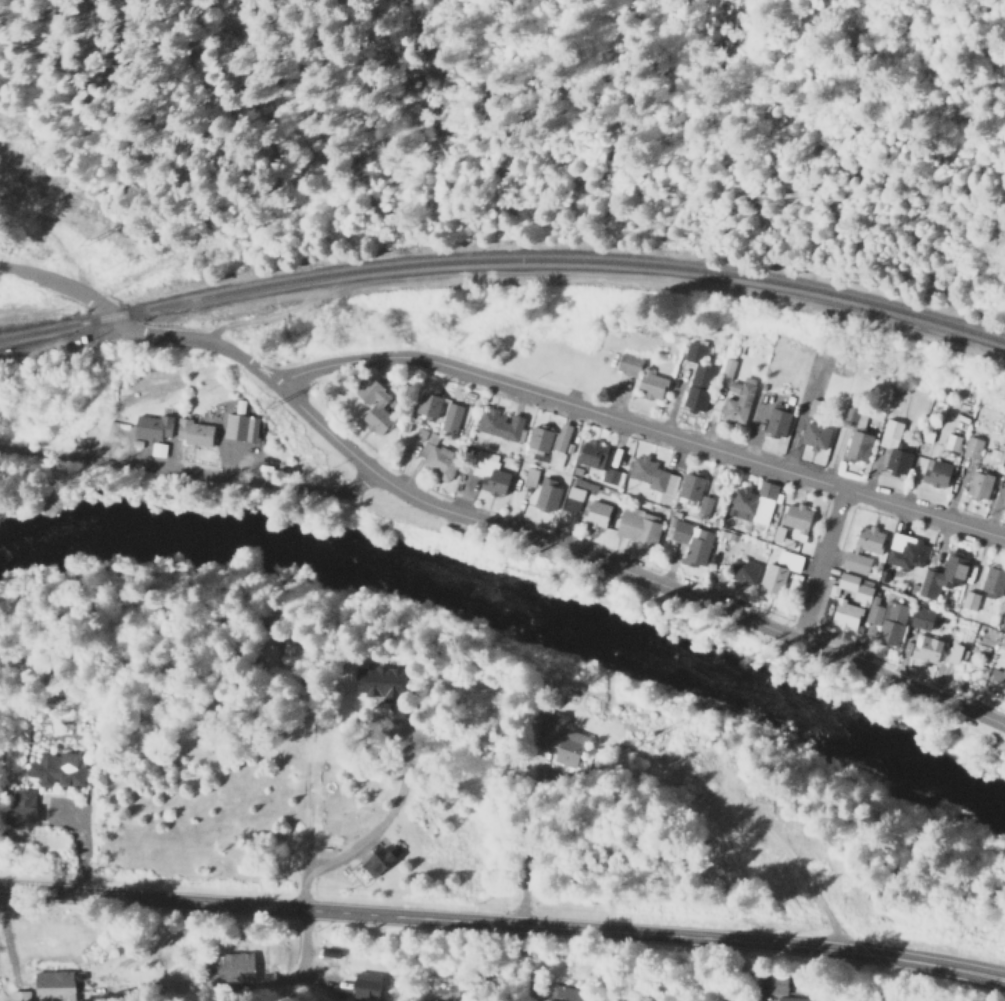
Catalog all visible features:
railway: (504, 260)
road: (139, 344)
building: (727, 368)
building: (630, 371)
building: (698, 388)
building: (652, 394)
building: (738, 400)
building: (429, 403)
building: (375, 404)
building: (851, 408)
building: (451, 416)
building: (777, 420)
building: (499, 423)
building: (152, 424)
building: (241, 426)
building: (193, 430)
road: (325, 434)
road: (644, 434)
building: (815, 435)
building: (562, 436)
building: (539, 439)
building: (952, 441)
building: (858, 444)
building: (893, 446)
building: (972, 446)
road: (5, 451)
building: (438, 459)
building: (1003, 465)
building: (936, 472)
road: (192, 473)
building: (490, 473)
building: (530, 476)
building: (653, 477)
building: (979, 483)
building: (690, 485)
building: (548, 492)
building: (754, 501)
building: (704, 504)
building: (587, 506)
building: (639, 524)
building: (792, 524)
building: (693, 541)
building: (863, 548)
building: (906, 550)
building: (743, 570)
building: (779, 570)
road: (820, 573)
building: (943, 575)
building: (993, 581)
building: (859, 599)
building: (970, 599)
road: (683, 604)
river: (517, 606)
building: (1003, 614)
building: (922, 617)
building: (887, 619)
building: (927, 647)
building: (957, 653)
building: (377, 682)
building: (997, 682)
building: (563, 741)
building: (57, 768)
building: (22, 805)
building: (381, 859)
road: (503, 923)

